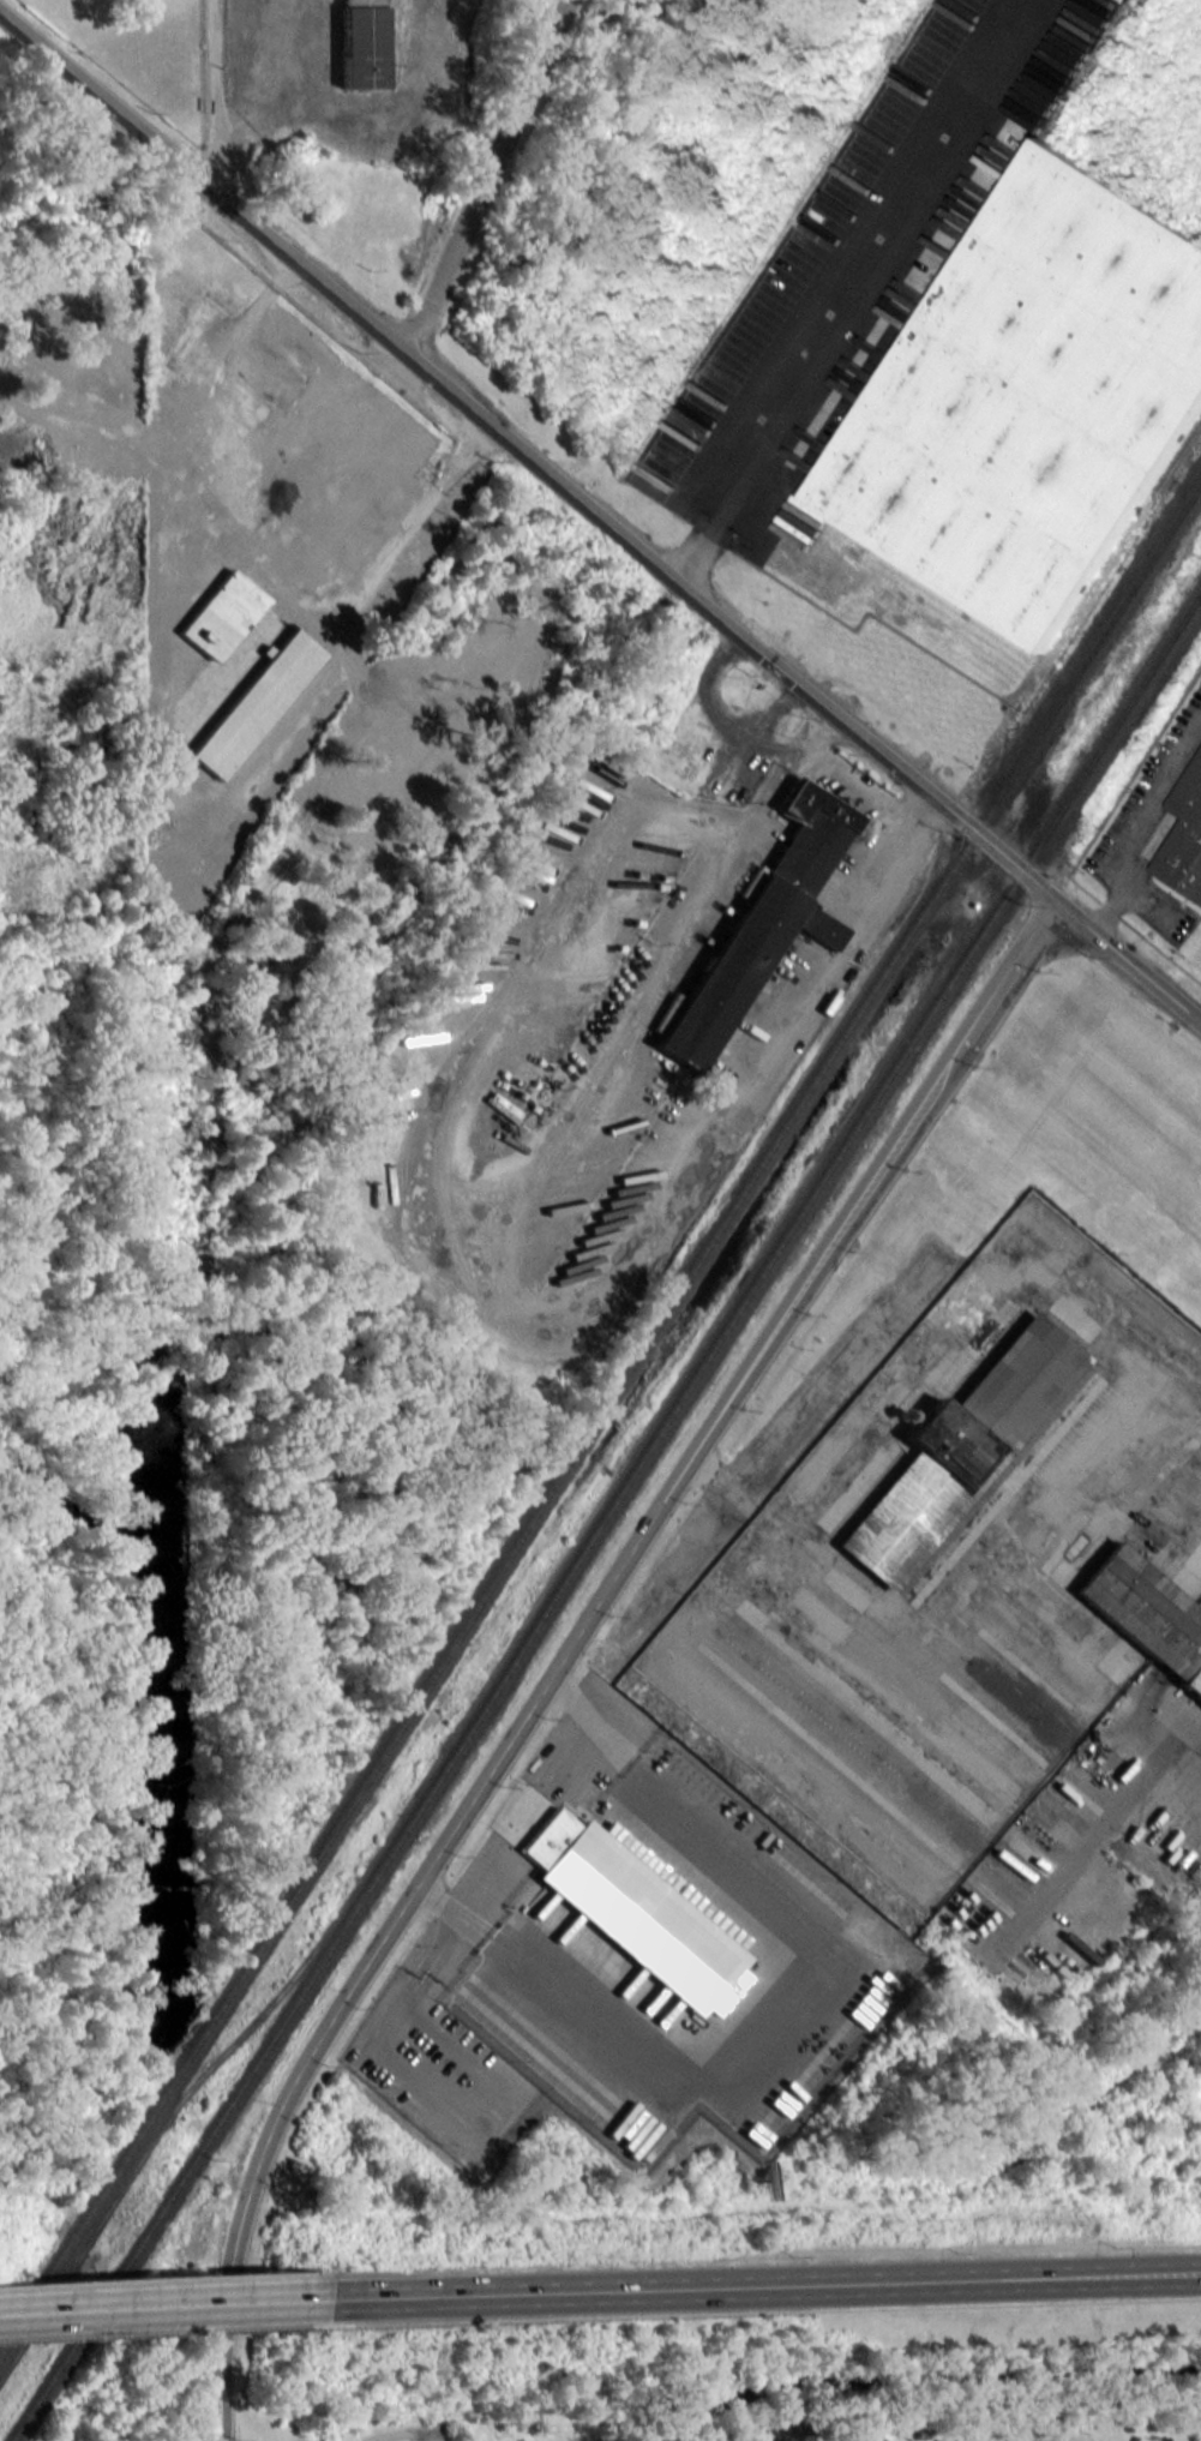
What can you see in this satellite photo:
building: (360, 43)
park: (134, 62)
road: (216, 77)
road: (223, 149)
road: (486, 176)
road: (798, 382)
building: (1031, 397)
railway: (1178, 456)
road: (600, 517)
road: (407, 524)
building: (222, 616)
road: (776, 703)
building: (253, 706)
road: (779, 738)
road: (785, 767)
building: (1184, 836)
building: (765, 918)
road: (455, 1094)
railway: (600, 1414)
building: (959, 1450)
railway: (605, 1516)
building: (1146, 1614)
road: (571, 1647)
building: (631, 1911)
road: (751, 2286)
road: (151, 2307)
road: (400, 2434)

